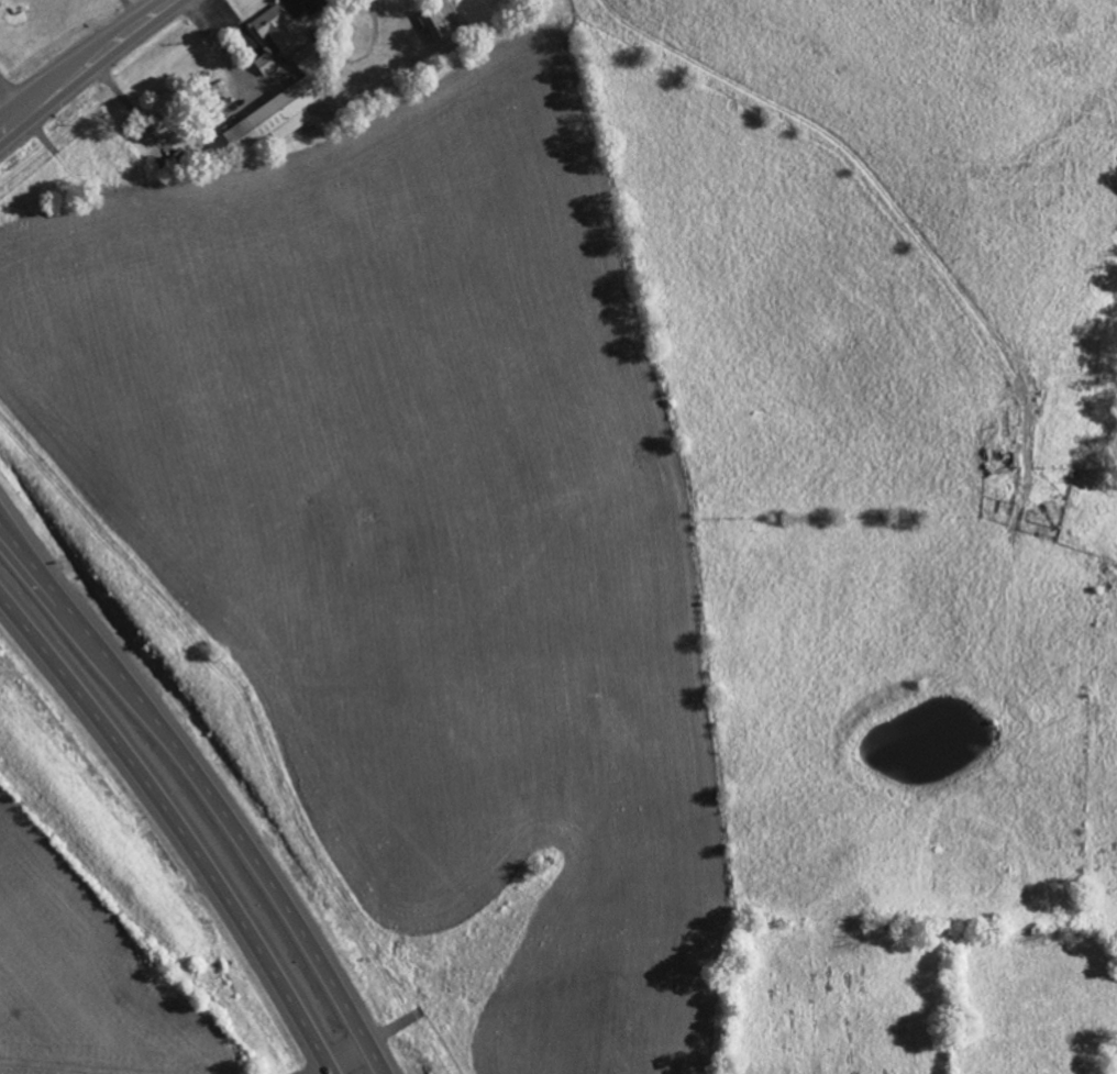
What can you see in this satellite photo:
building: (310, 4)
building: (435, 25)
building: (273, 35)
road: (220, 46)
building: (306, 60)
road: (84, 64)
road: (12, 95)
building: (273, 117)
road: (209, 784)
road: (179, 823)
road: (366, 1043)

